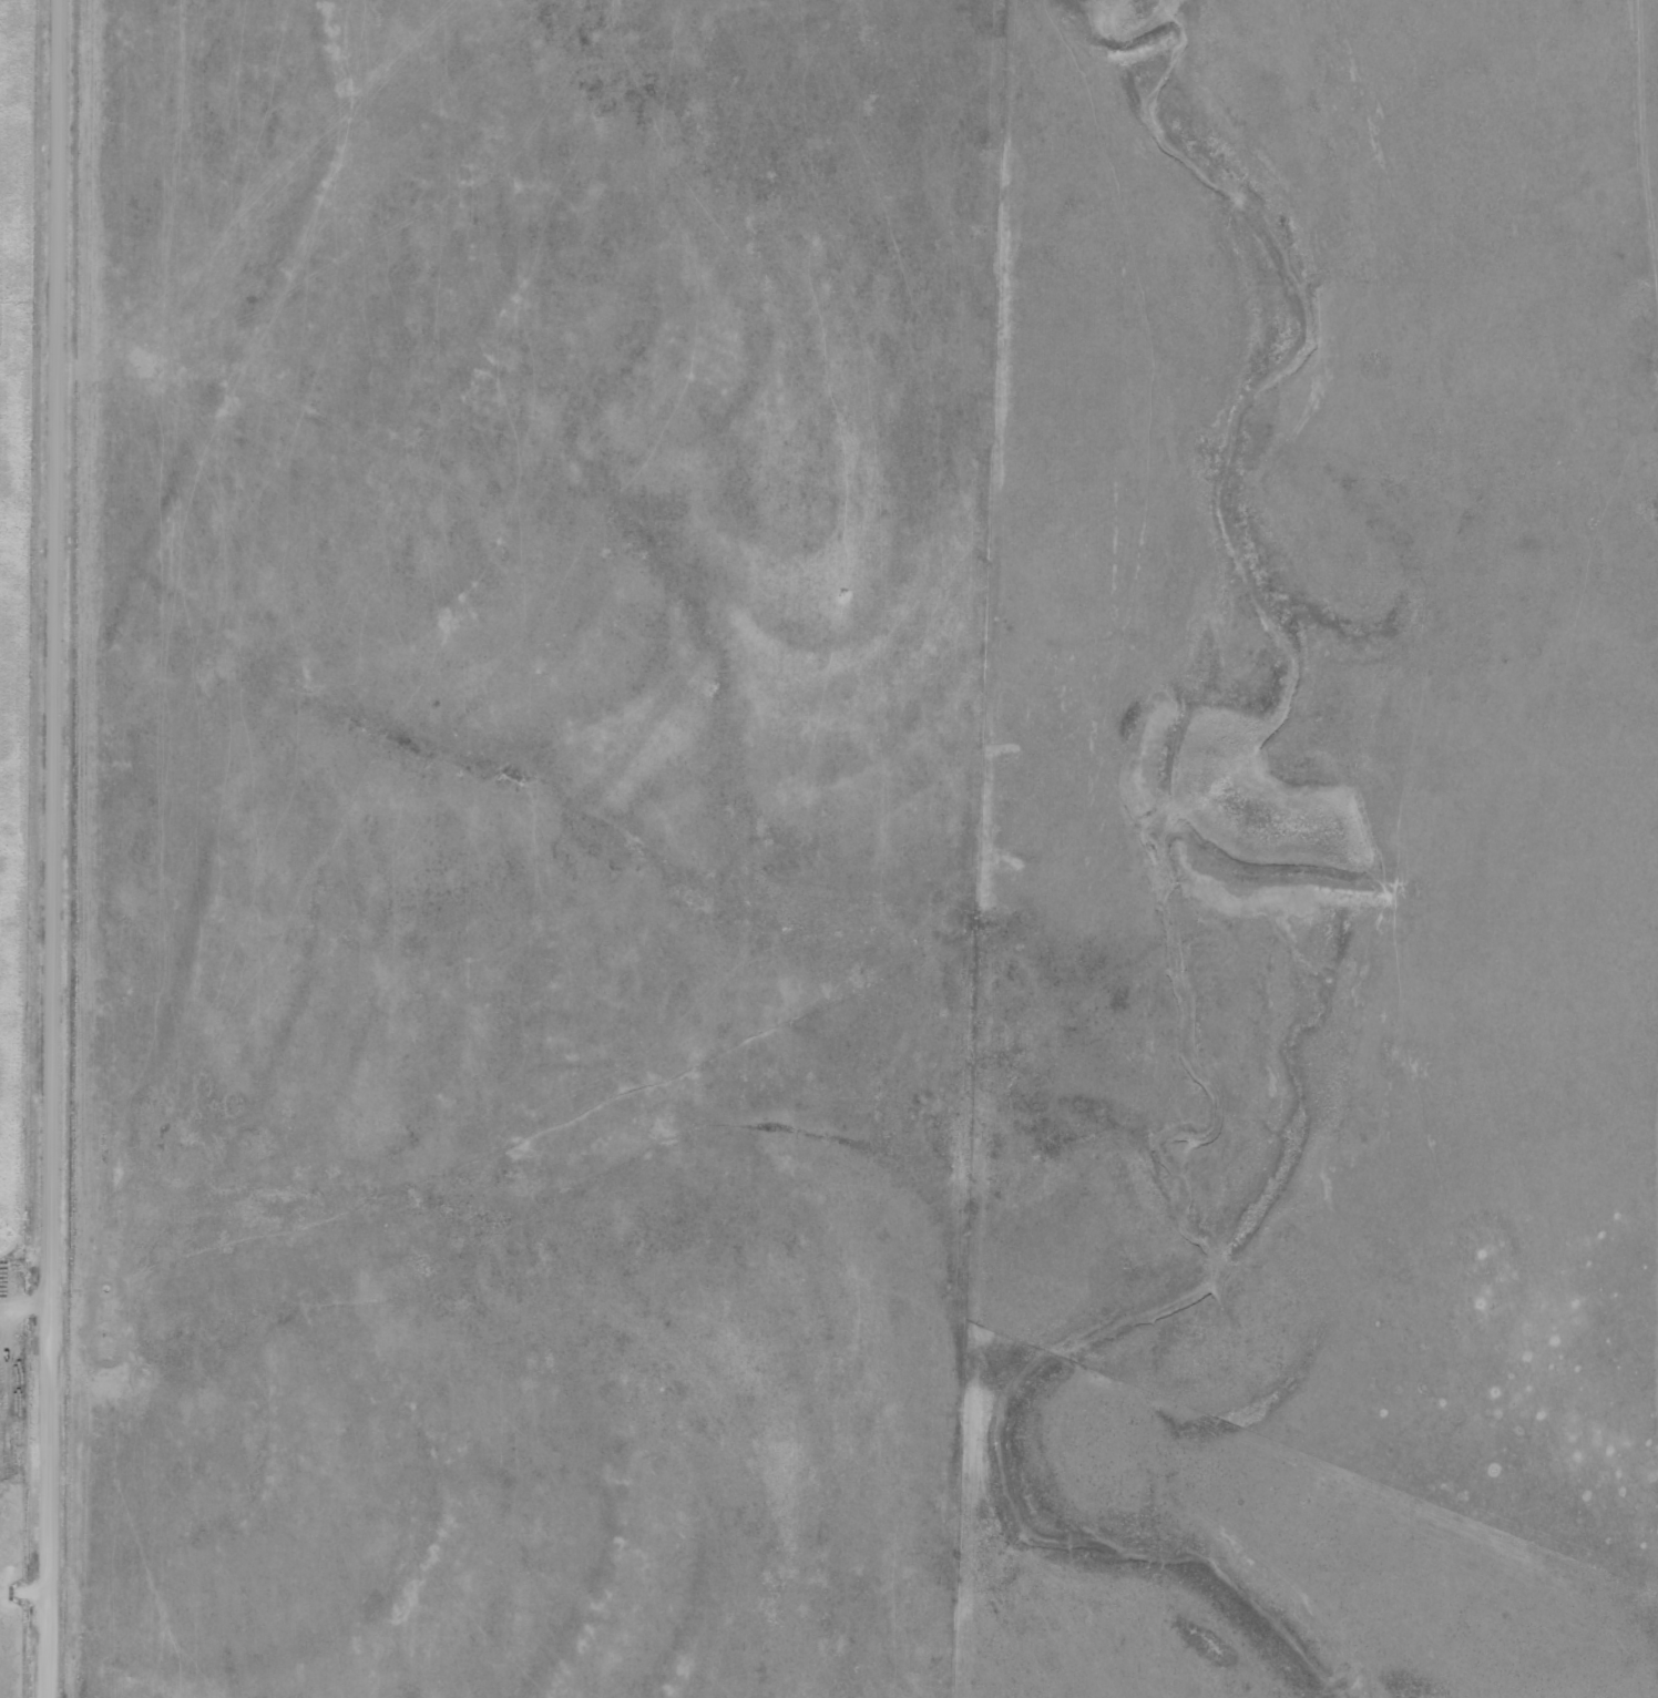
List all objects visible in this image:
road: (57, 849)

